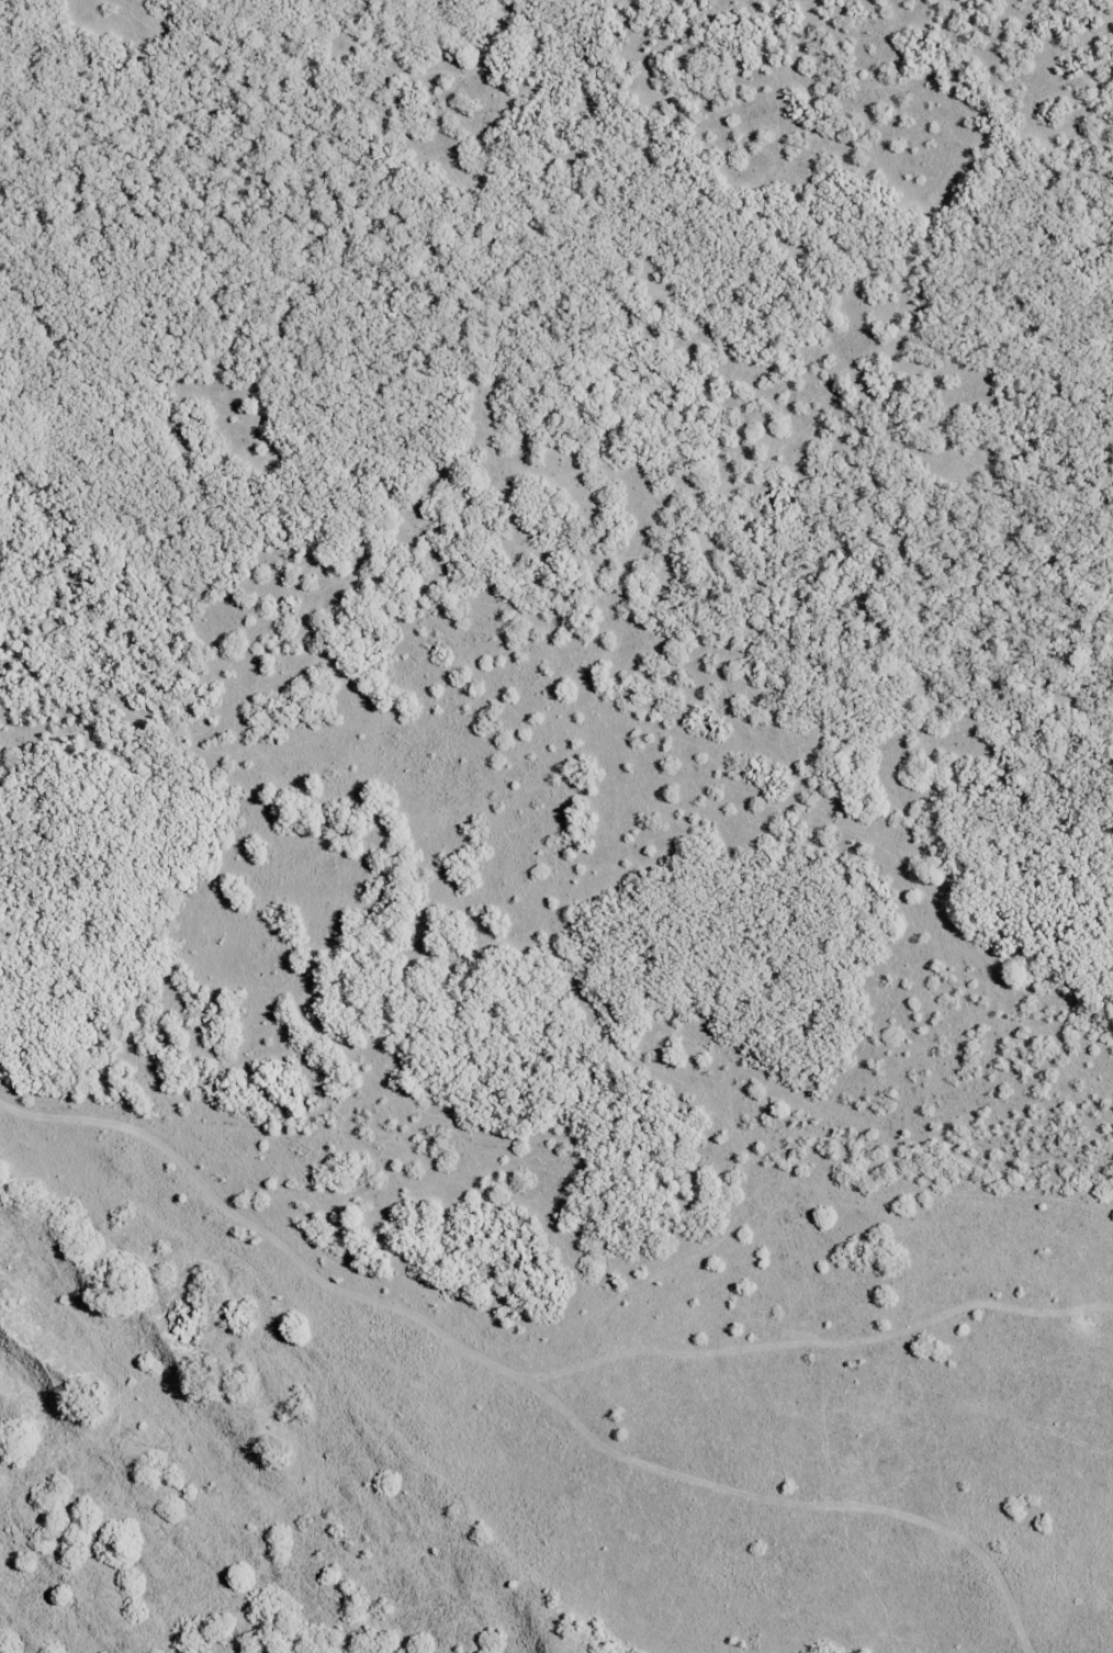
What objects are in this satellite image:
road: (553, 1188)
road: (705, 1419)

